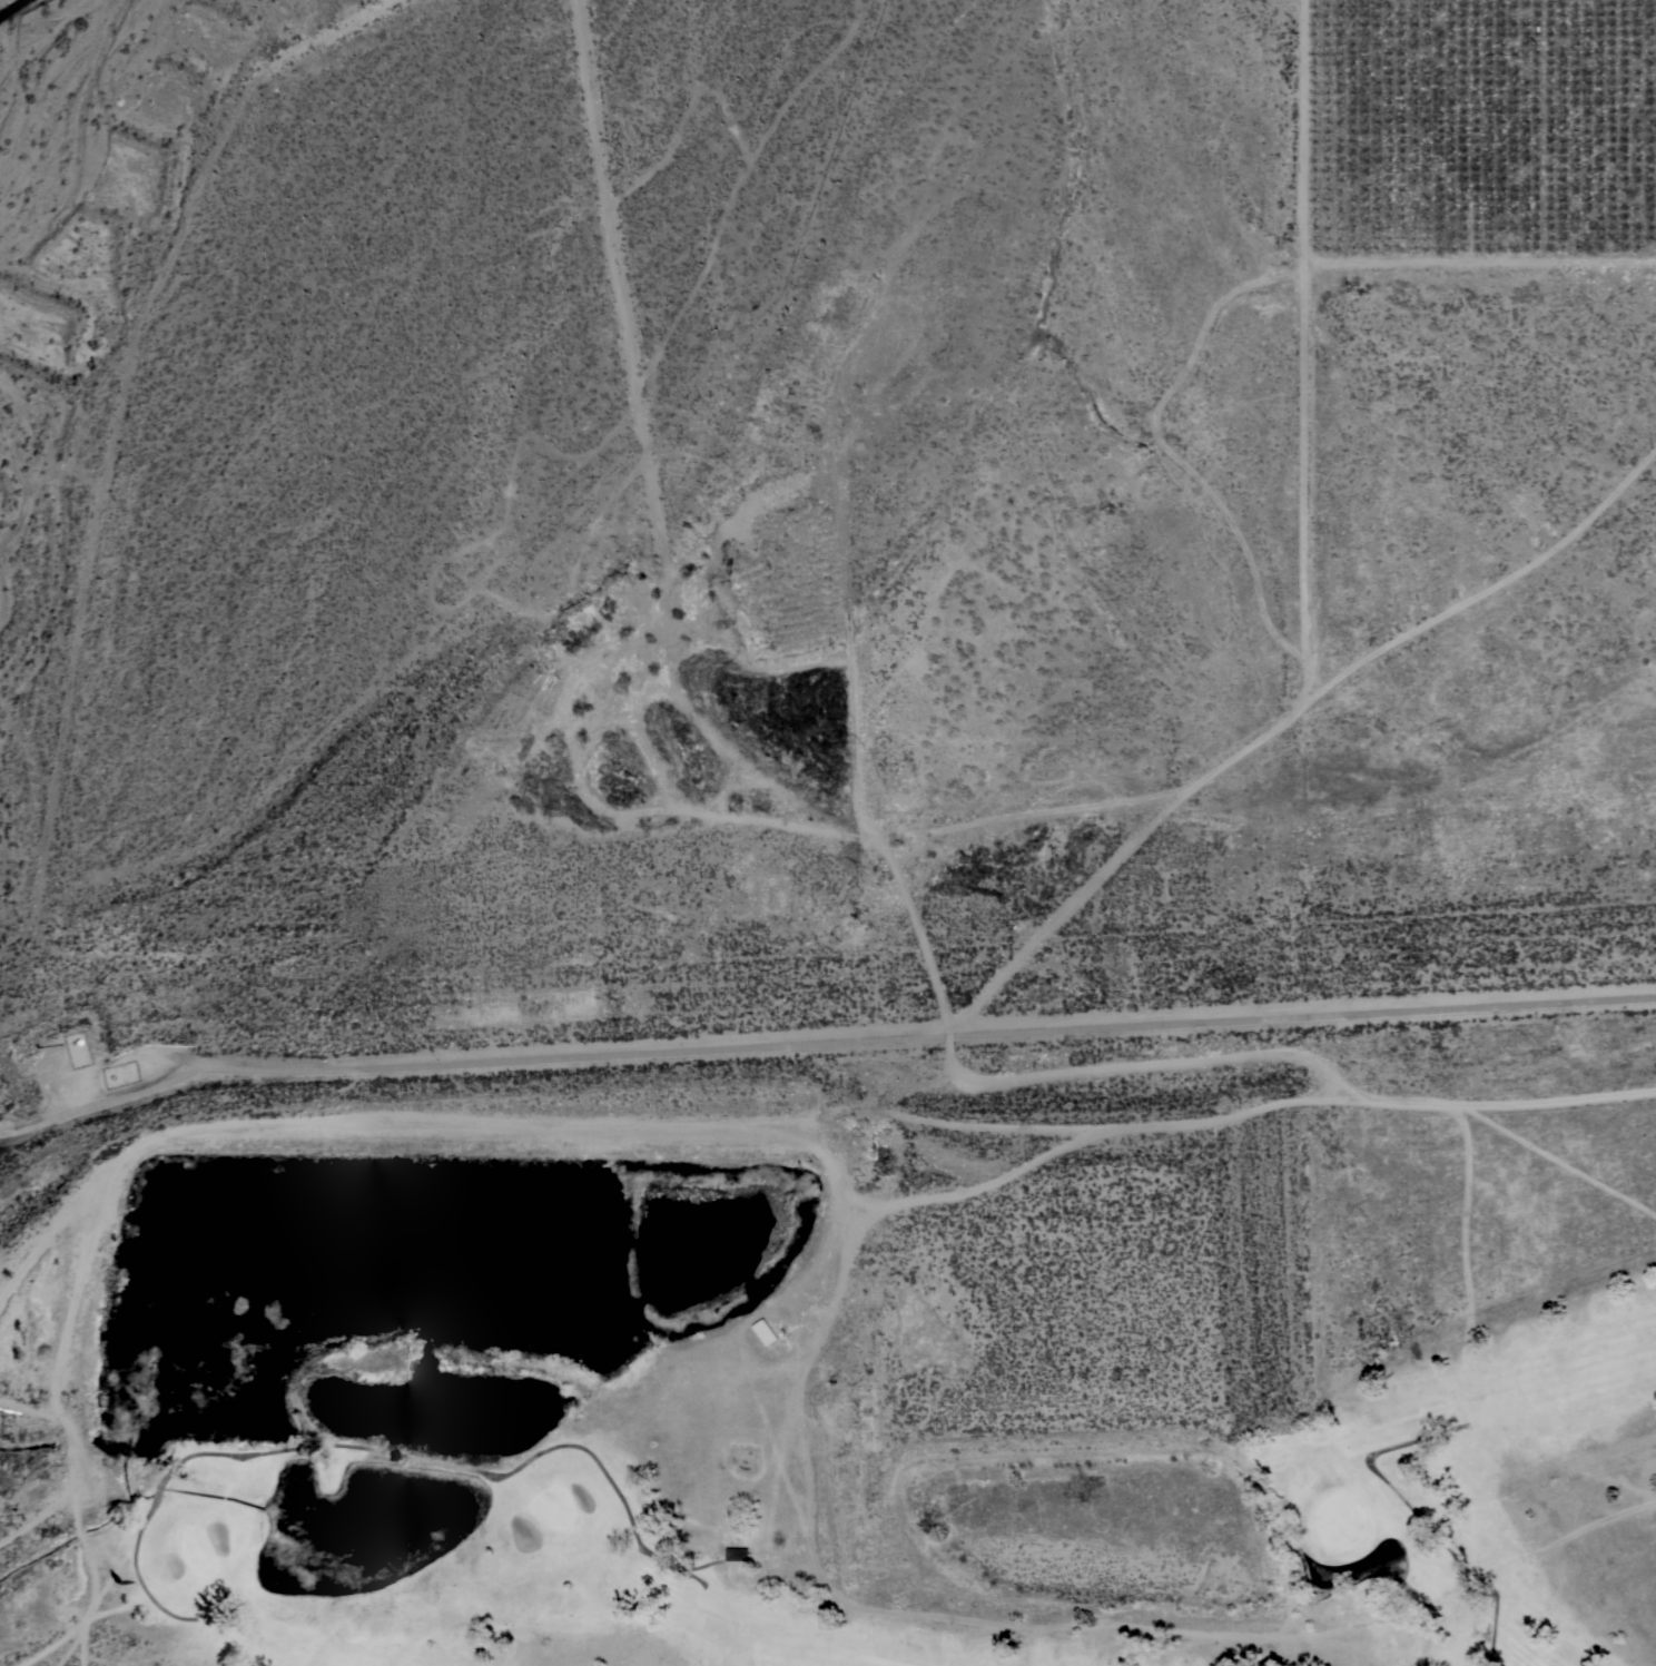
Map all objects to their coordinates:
crop: (1477, 132)
road: (804, 723)
road: (849, 1268)
building: (765, 1332)
park: (750, 1446)
building: (737, 1554)

